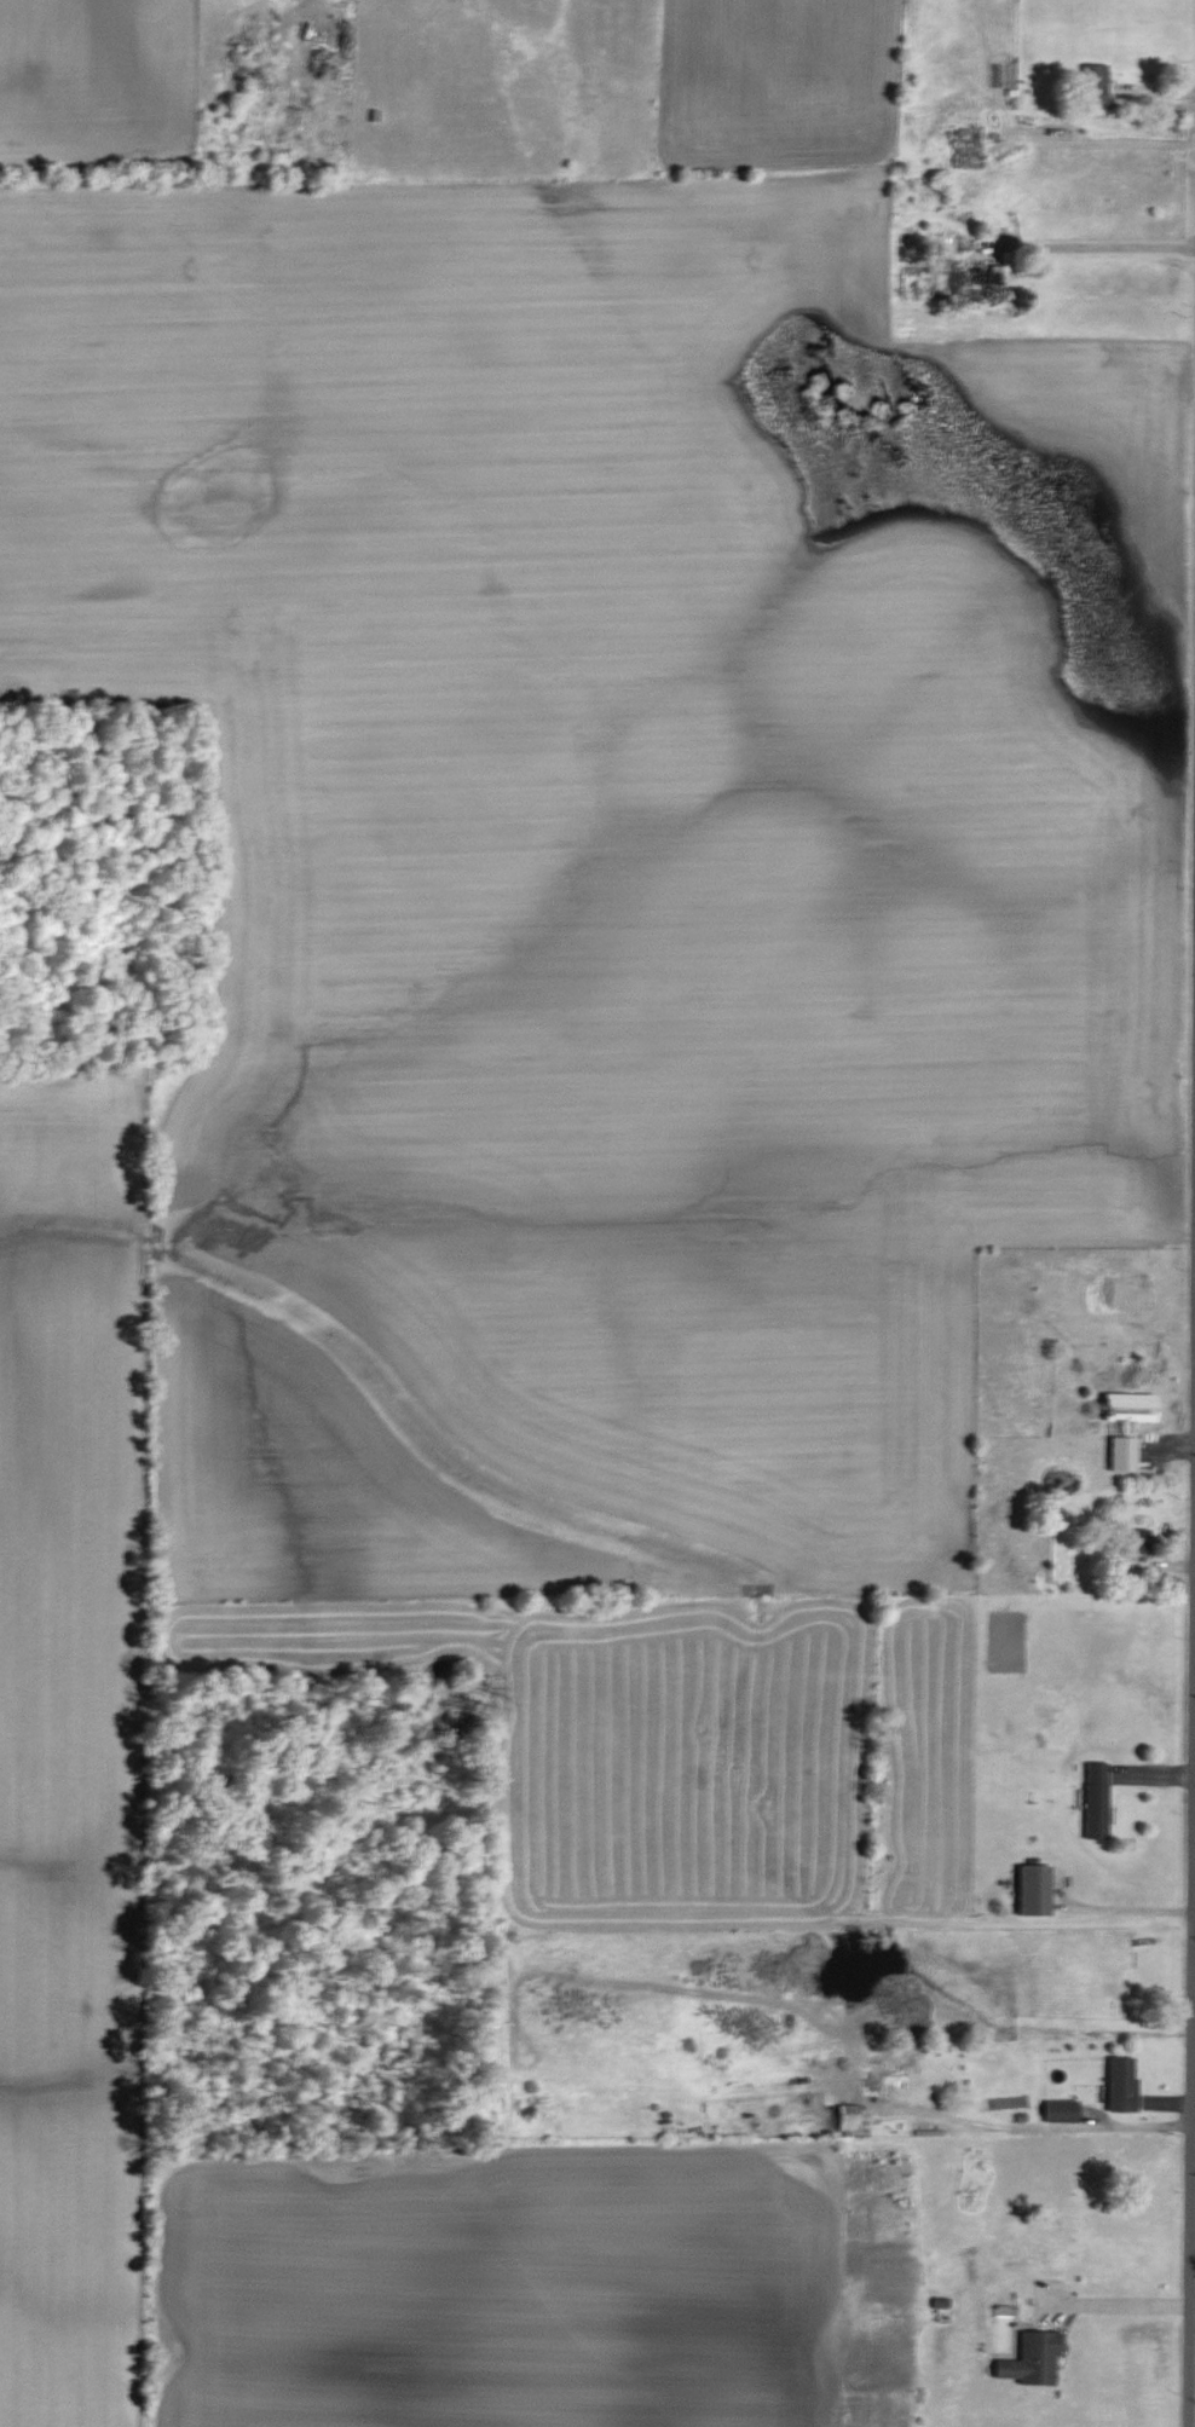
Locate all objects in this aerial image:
building: (1093, 83)
road: (1115, 141)
road: (1098, 247)
building: (1139, 1408)
building: (1121, 1454)
building: (1136, 1541)
building: (1095, 1799)
building: (1032, 1888)
road: (1194, 1907)
road: (1118, 1911)
road: (1191, 2079)
building: (1120, 2082)
building: (1060, 2110)
road: (1029, 2130)
road: (1193, 2253)
road: (1114, 2306)
building: (1031, 2358)

